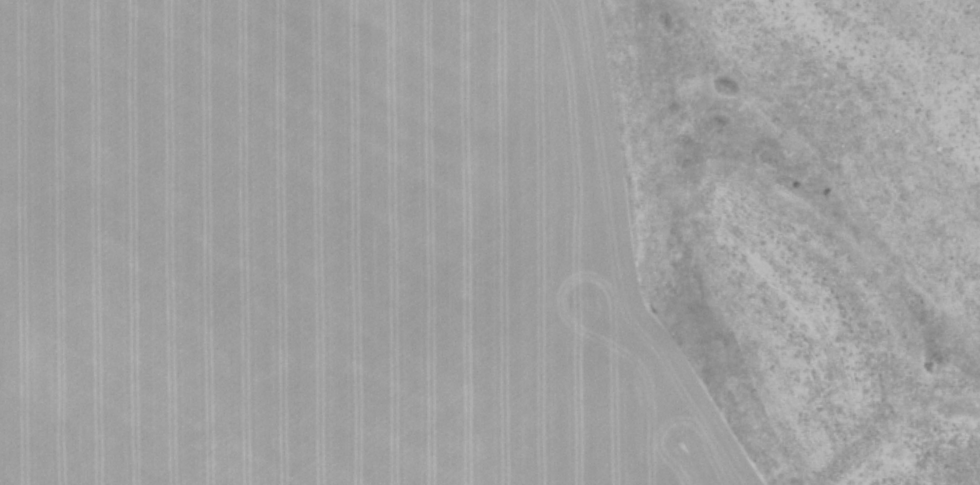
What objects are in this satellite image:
crop: (490, 242)

